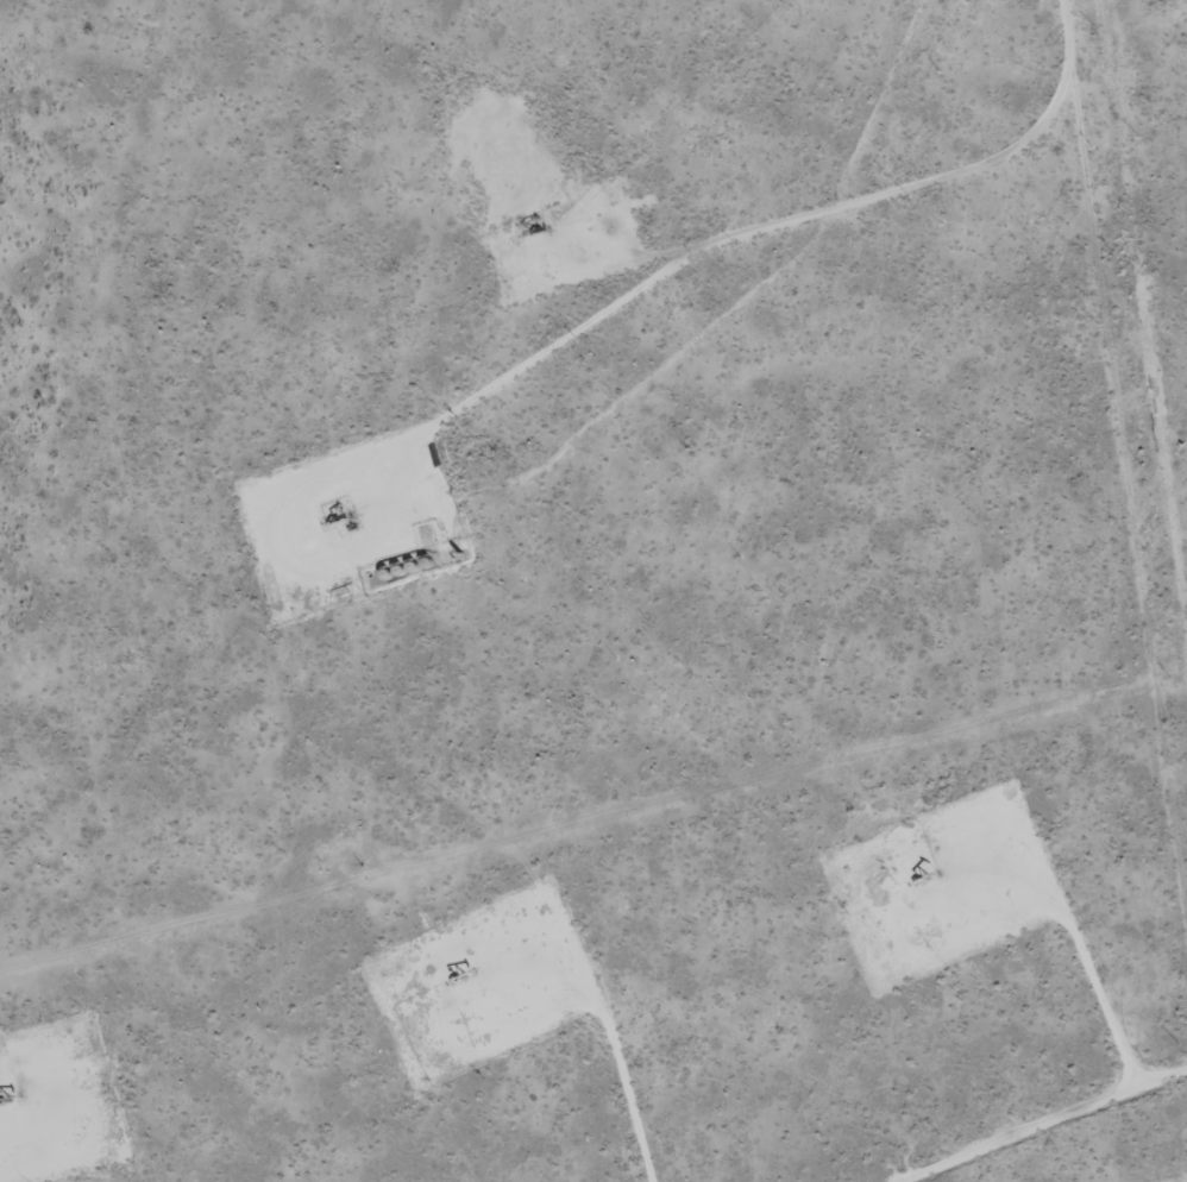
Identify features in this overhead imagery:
road: (770, 228)
road: (1045, 1136)

